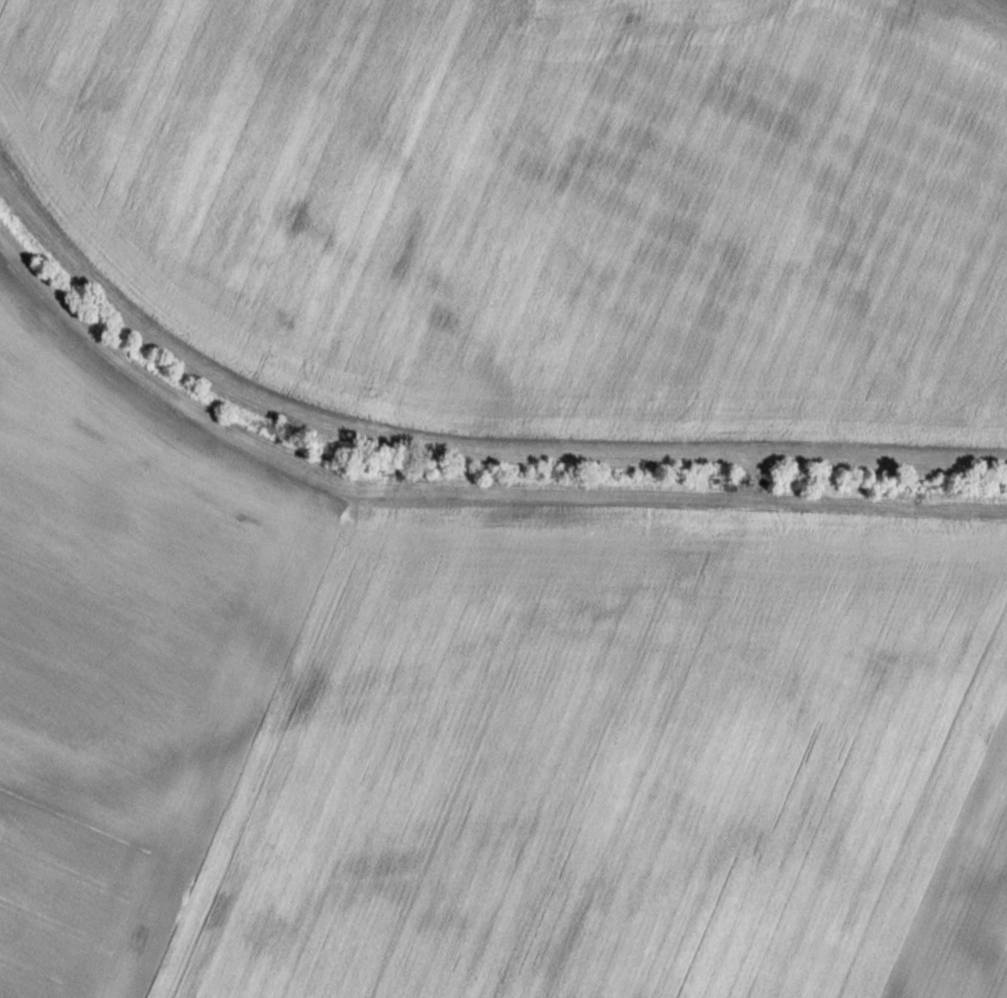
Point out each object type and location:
crop: (249, 135)
crop: (717, 212)
building: (45, 229)
crop: (465, 732)

